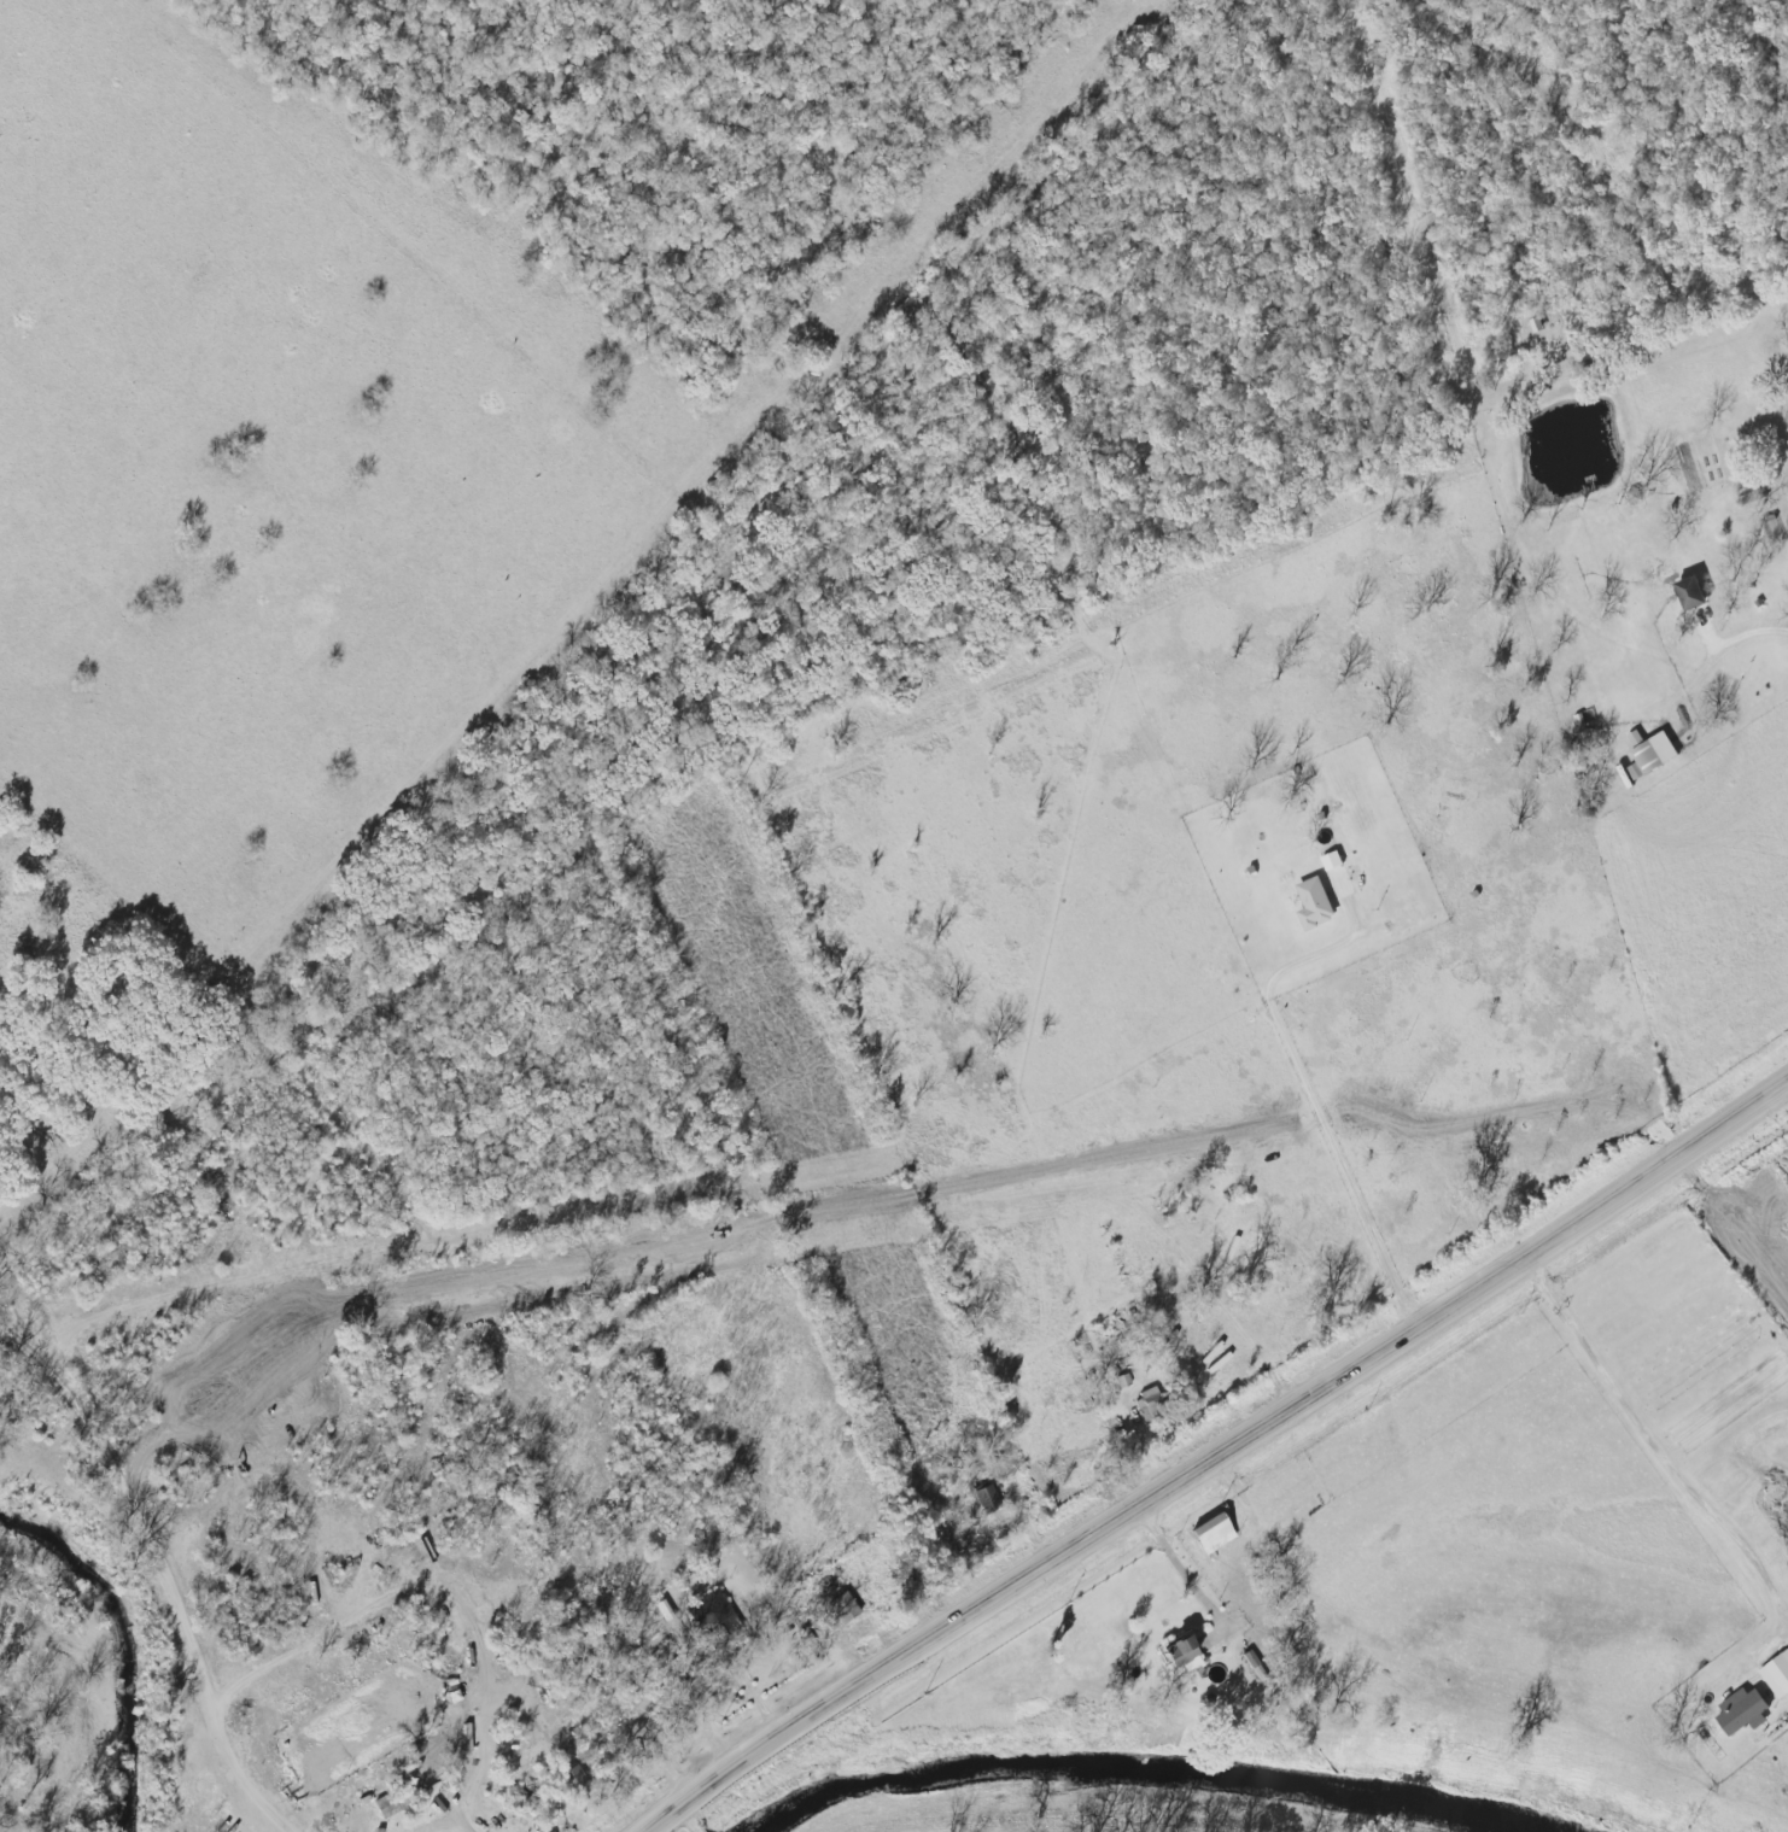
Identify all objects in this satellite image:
building: (1695, 595)
building: (1649, 757)
building: (1315, 907)
road: (1308, 1088)
road: (893, 1190)
building: (1150, 1405)
road: (1661, 1455)
road: (1216, 1462)
building: (987, 1500)
building: (1215, 1535)
road: (171, 1567)
road: (1181, 1570)
building: (911, 1571)
building: (842, 1610)
building: (717, 1621)
river: (122, 1643)
building: (1182, 1651)
river: (1147, 1766)
building: (574, 1780)
building: (442, 1786)
building: (526, 1796)
building: (397, 1807)
road: (688, 1819)

